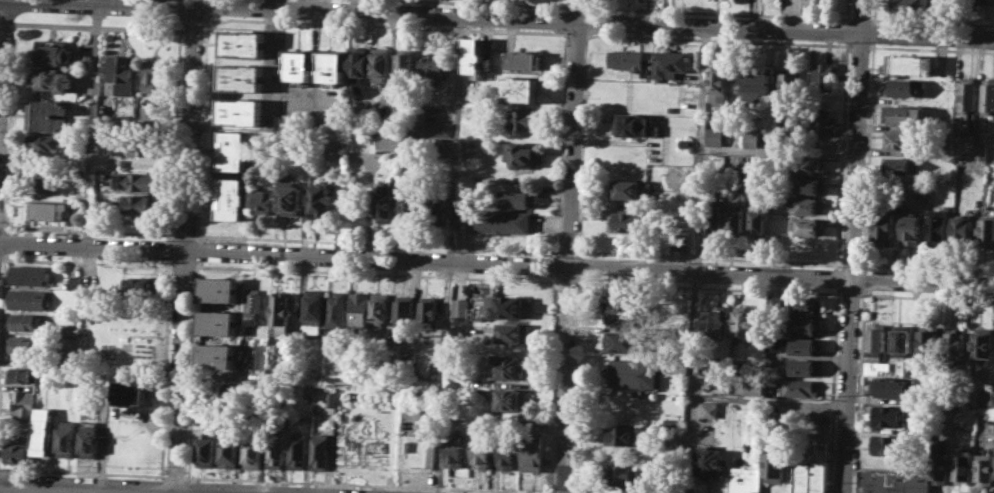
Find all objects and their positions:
road: (156, 1)
road: (191, 1)
building: (977, 1)
building: (990, 1)
road: (500, 3)
building: (910, 5)
road: (579, 6)
road: (847, 10)
road: (0, 11)
road: (720, 11)
road: (874, 11)
road: (862, 17)
road: (592, 20)
road: (932, 21)
road: (95, 25)
road: (846, 29)
road: (873, 31)
building: (243, 43)
building: (54, 52)
road: (271, 52)
building: (473, 54)
building: (628, 58)
building: (525, 59)
building: (86, 61)
building: (670, 62)
building: (380, 63)
building: (909, 64)
building: (405, 65)
building: (298, 66)
building: (358, 66)
building: (431, 66)
building: (331, 67)
building: (120, 72)
building: (152, 74)
building: (824, 75)
building: (242, 78)
building: (55, 79)
building: (721, 83)
building: (790, 85)
building: (757, 86)
building: (904, 86)
building: (521, 89)
building: (967, 92)
building: (987, 95)
building: (240, 111)
building: (905, 114)
building: (48, 115)
building: (524, 118)
building: (106, 121)
building: (322, 121)
building: (823, 121)
road: (93, 122)
building: (635, 124)
building: (386, 126)
building: (432, 128)
building: (715, 135)
road: (456, 137)
building: (751, 137)
building: (901, 139)
building: (372, 141)
building: (685, 142)
building: (48, 145)
building: (143, 146)
building: (435, 146)
building: (233, 149)
road: (779, 150)
building: (979, 150)
building: (942, 151)
road: (840, 153)
building: (521, 154)
road: (868, 154)
building: (808, 165)
building: (896, 165)
building: (740, 169)
building: (757, 169)
building: (80, 175)
building: (47, 179)
building: (138, 180)
building: (812, 185)
building: (922, 188)
building: (631, 189)
building: (290, 197)
building: (230, 198)
building: (520, 199)
building: (262, 200)
building: (322, 200)
building: (143, 204)
building: (806, 204)
building: (385, 206)
building: (46, 209)
building: (411, 211)
building: (437, 211)
road: (698, 211)
building: (712, 217)
building: (759, 220)
building: (501, 221)
building: (628, 221)
building: (735, 222)
building: (884, 225)
building: (937, 225)
building: (811, 226)
building: (911, 229)
building: (963, 231)
building: (987, 232)
road: (570, 246)
road: (853, 246)
road: (497, 247)
building: (802, 247)
road: (184, 248)
road: (497, 262)
building: (30, 274)
road: (836, 277)
road: (497, 278)
road: (863, 279)
building: (75, 281)
building: (141, 286)
building: (219, 289)
building: (27, 298)
building: (253, 305)
building: (507, 306)
building: (803, 306)
building: (360, 308)
building: (380, 308)
building: (461, 308)
building: (621, 308)
building: (284, 309)
building: (315, 310)
building: (337, 310)
building: (404, 310)
building: (429, 311)
building: (715, 320)
building: (25, 322)
building: (217, 322)
building: (745, 322)
building: (804, 325)
building: (71, 330)
building: (514, 332)
building: (901, 339)
building: (625, 340)
building: (956, 341)
building: (928, 342)
building: (26, 343)
building: (983, 344)
building: (69, 345)
building: (804, 345)
building: (877, 346)
building: (217, 355)
building: (510, 366)
building: (804, 366)
building: (910, 367)
building: (435, 370)
building: (22, 373)
building: (633, 373)
building: (455, 376)
building: (755, 386)
building: (889, 386)
building: (798, 387)
building: (232, 389)
building: (308, 389)
road: (831, 389)
road: (858, 390)
building: (132, 393)
building: (987, 396)
road: (721, 397)
building: (511, 398)
building: (330, 399)
building: (23, 404)
building: (710, 409)
building: (889, 416)
building: (43, 431)
building: (624, 434)
building: (67, 439)
building: (90, 439)
building: (889, 444)
building: (206, 446)
building: (483, 446)
building: (275, 449)
building: (296, 449)
building: (508, 449)
building: (454, 450)
building: (318, 451)
building: (415, 451)
building: (229, 452)
building: (533, 452)
building: (17, 453)
building: (253, 453)
building: (708, 462)
building: (775, 466)
building: (818, 466)
building: (942, 467)
building: (964, 467)
building: (985, 469)
building: (801, 472)
building: (626, 477)
building: (745, 478)
building: (894, 482)
road: (43, 491)

